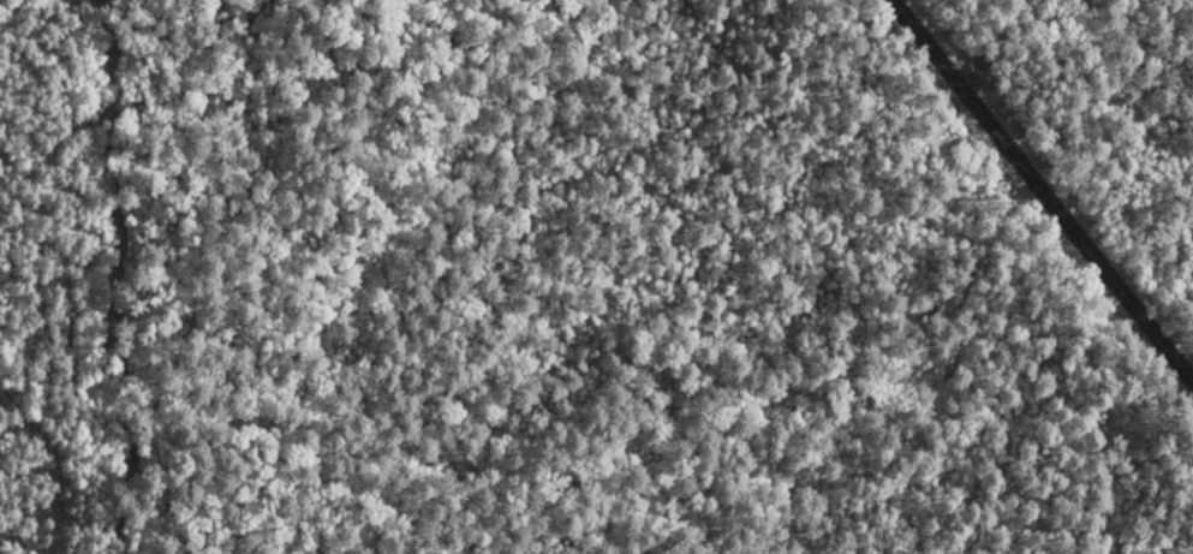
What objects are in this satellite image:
road: (1034, 196)

